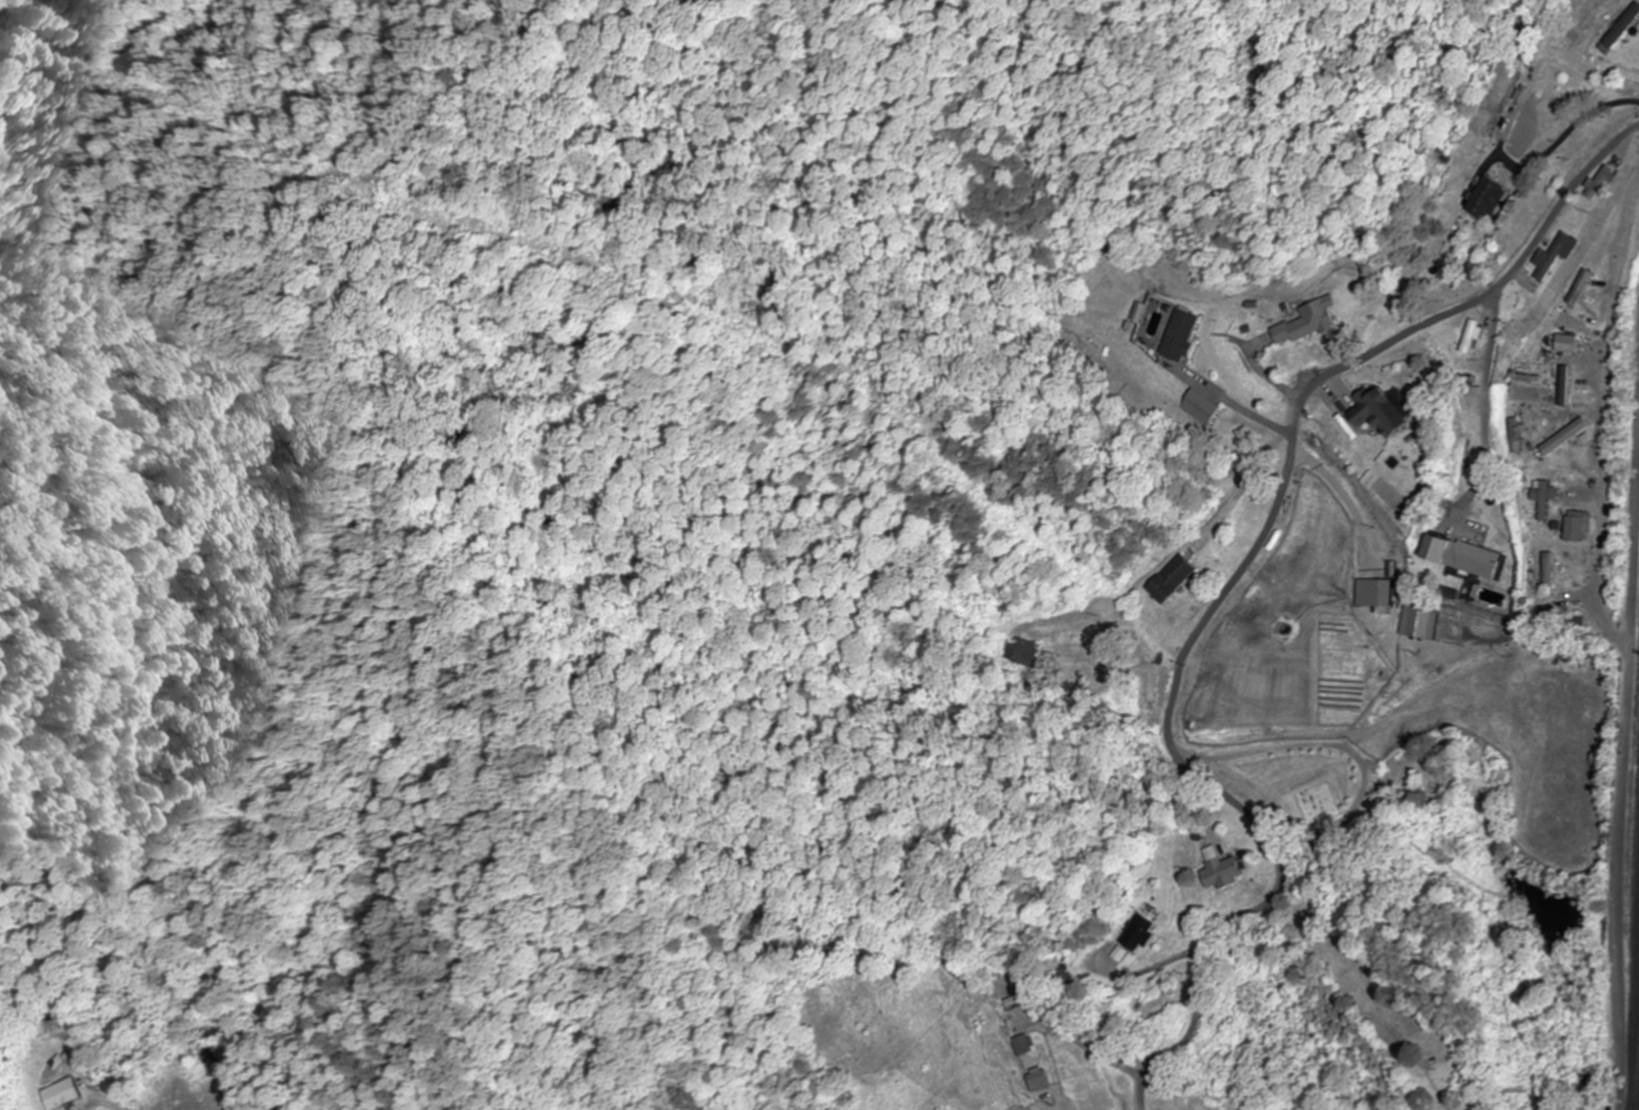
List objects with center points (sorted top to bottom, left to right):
building: (1498, 199)
building: (1556, 254)
building: (1321, 321)
building: (1184, 335)
building: (1473, 336)
building: (1564, 344)
building: (1206, 403)
building: (1389, 412)
building: (1517, 435)
building: (1562, 436)
building: (1548, 499)
building: (1466, 556)
building: (1552, 570)
road: (1230, 576)
building: (1176, 578)
building: (1387, 594)
building: (1025, 652)
road: (1623, 763)
building: (1227, 869)
building: (1146, 934)
building: (963, 975)
railway: (1632, 999)
building: (1023, 1049)
railway: (1634, 1059)
railway: (1637, 1073)
building: (1042, 1080)
building: (60, 1094)
road: (97, 1103)

